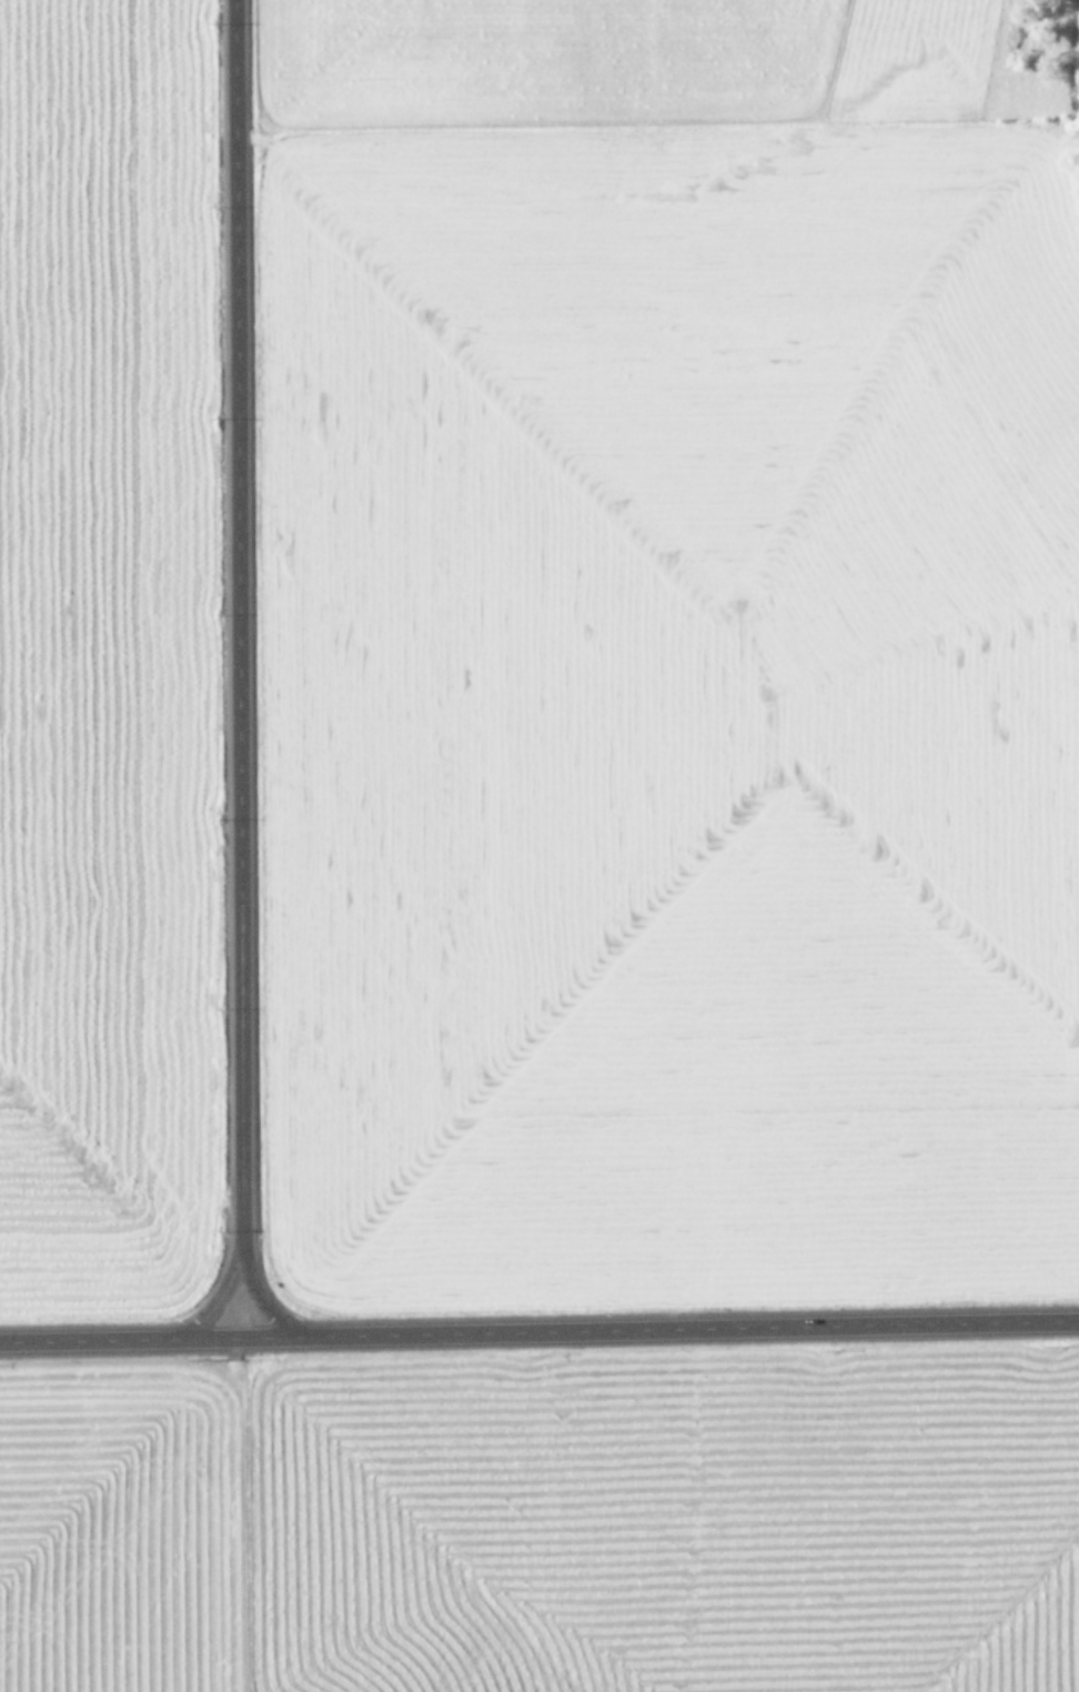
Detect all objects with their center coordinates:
crop: (670, 642)
crop: (97, 645)
road: (235, 667)
road: (538, 1330)

